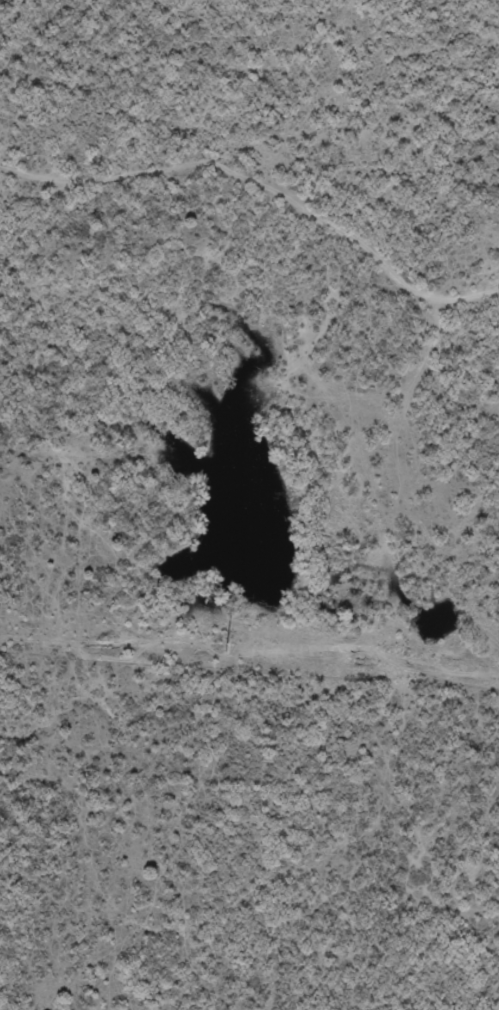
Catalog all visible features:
power tower: (221, 647)

